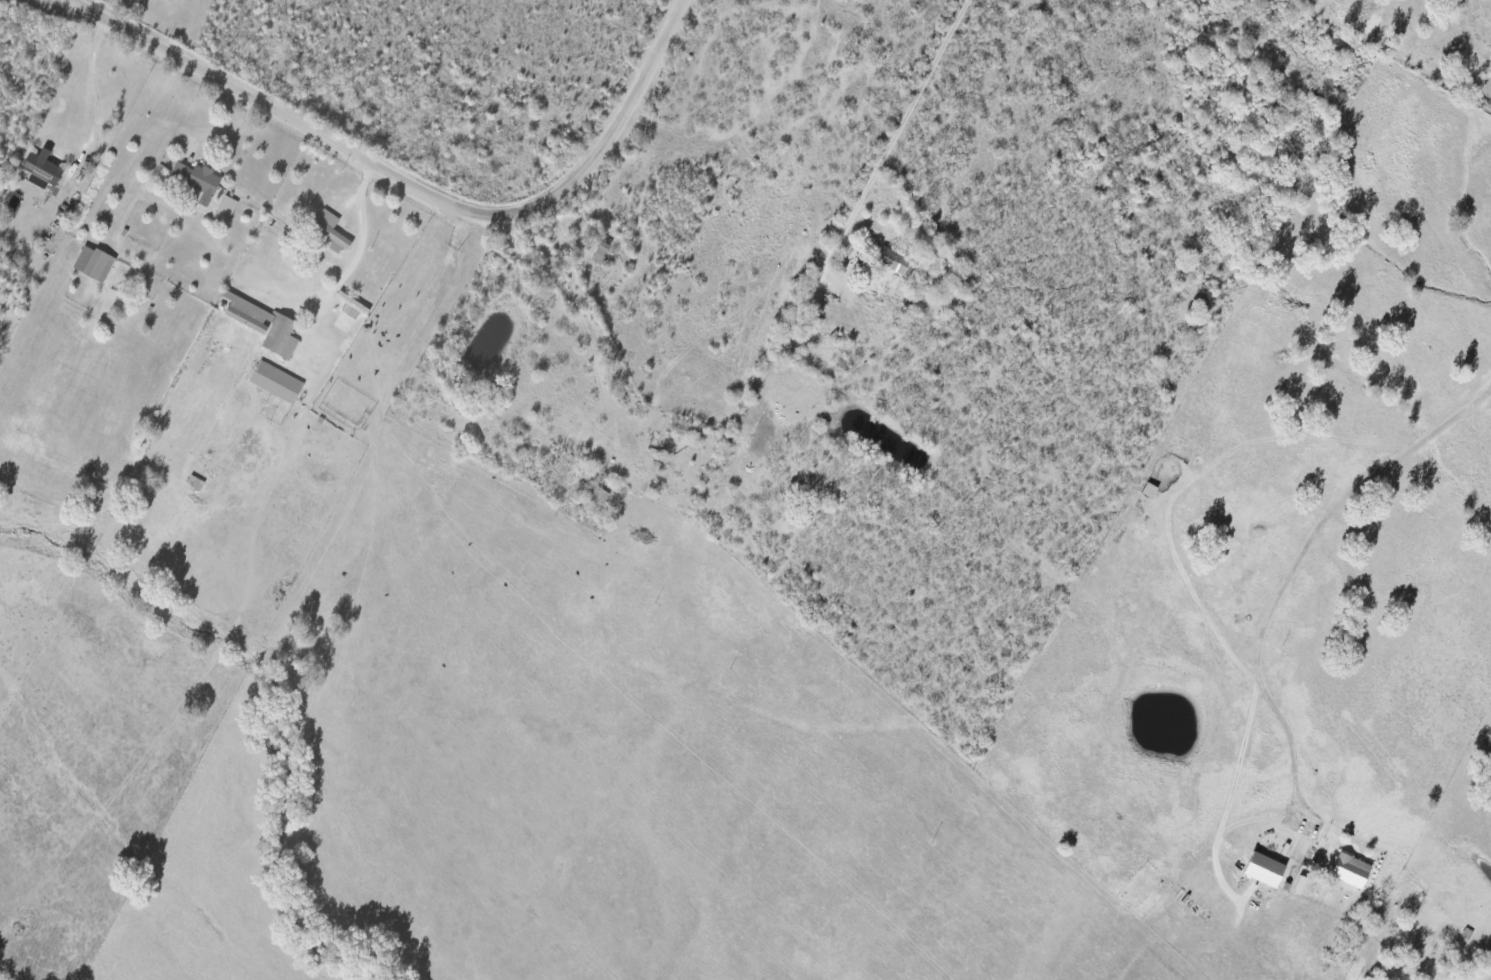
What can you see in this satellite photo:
road: (93, 88)
road: (902, 136)
building: (41, 168)
building: (198, 179)
road: (417, 185)
building: (226, 208)
building: (330, 227)
building: (600, 252)
building: (893, 261)
building: (94, 263)
road: (578, 303)
building: (352, 306)
building: (264, 324)
building: (276, 382)
road: (1287, 592)
building: (1264, 869)
building: (1350, 870)
road: (1464, 975)

